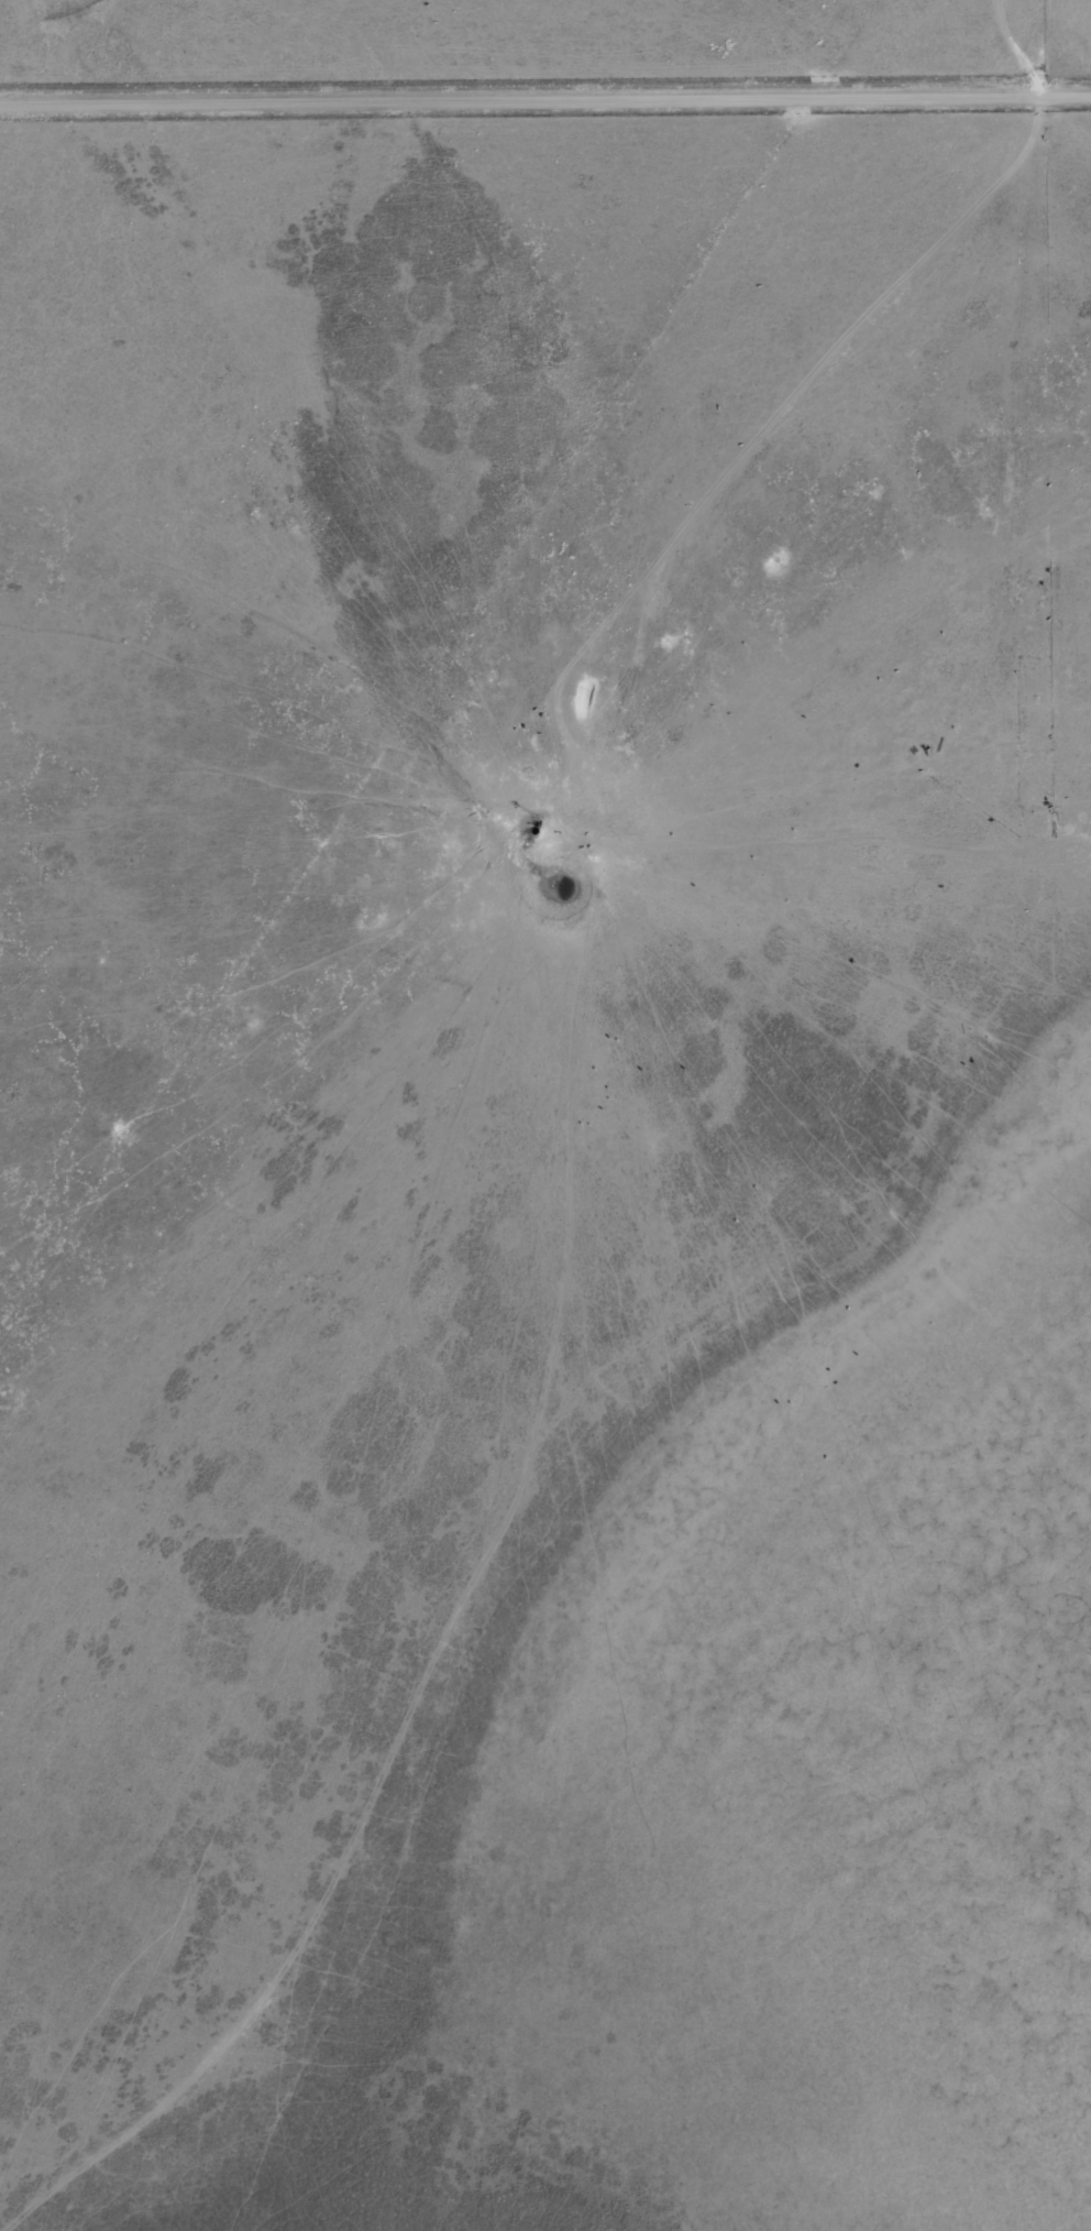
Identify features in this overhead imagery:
road: (544, 96)

